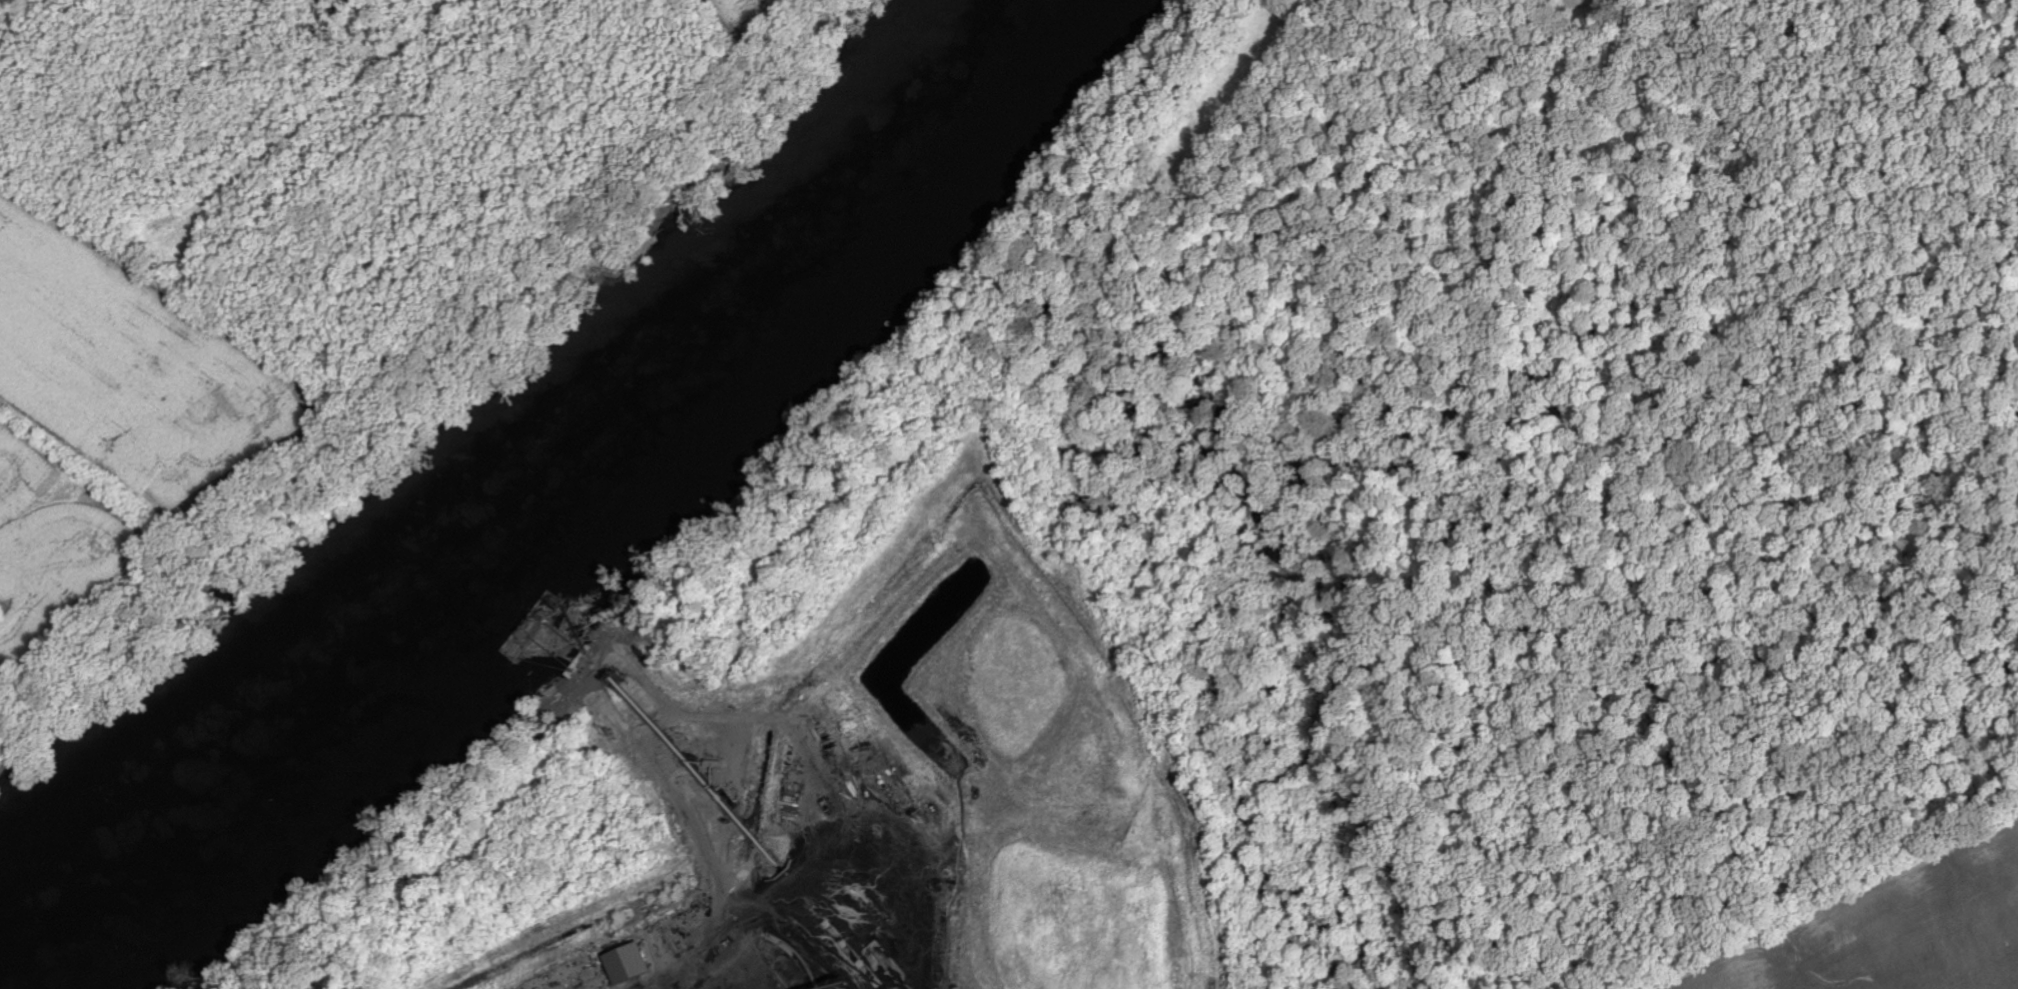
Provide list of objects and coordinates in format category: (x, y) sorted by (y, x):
river: (516, 502)
road: (733, 847)
building: (633, 964)

